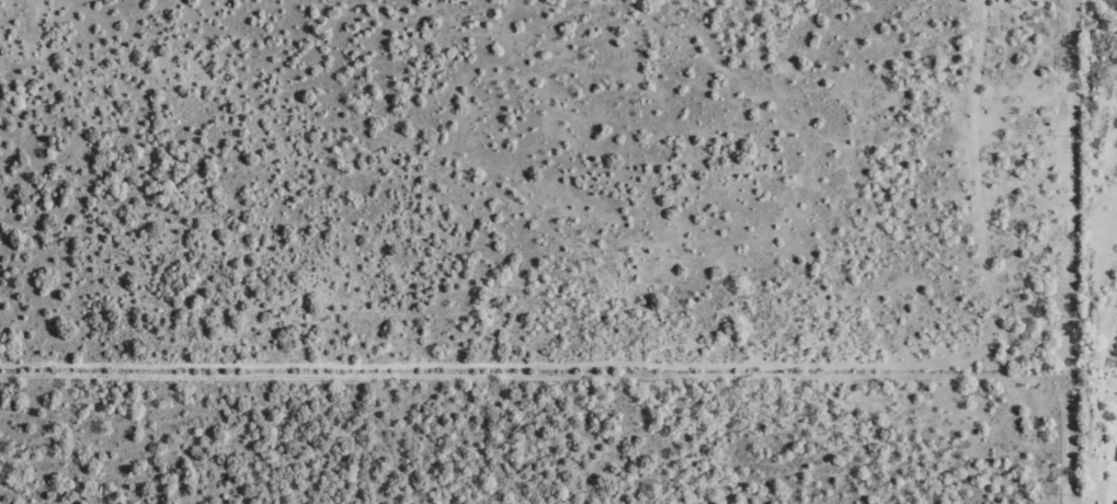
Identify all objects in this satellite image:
building: (1116, 503)

